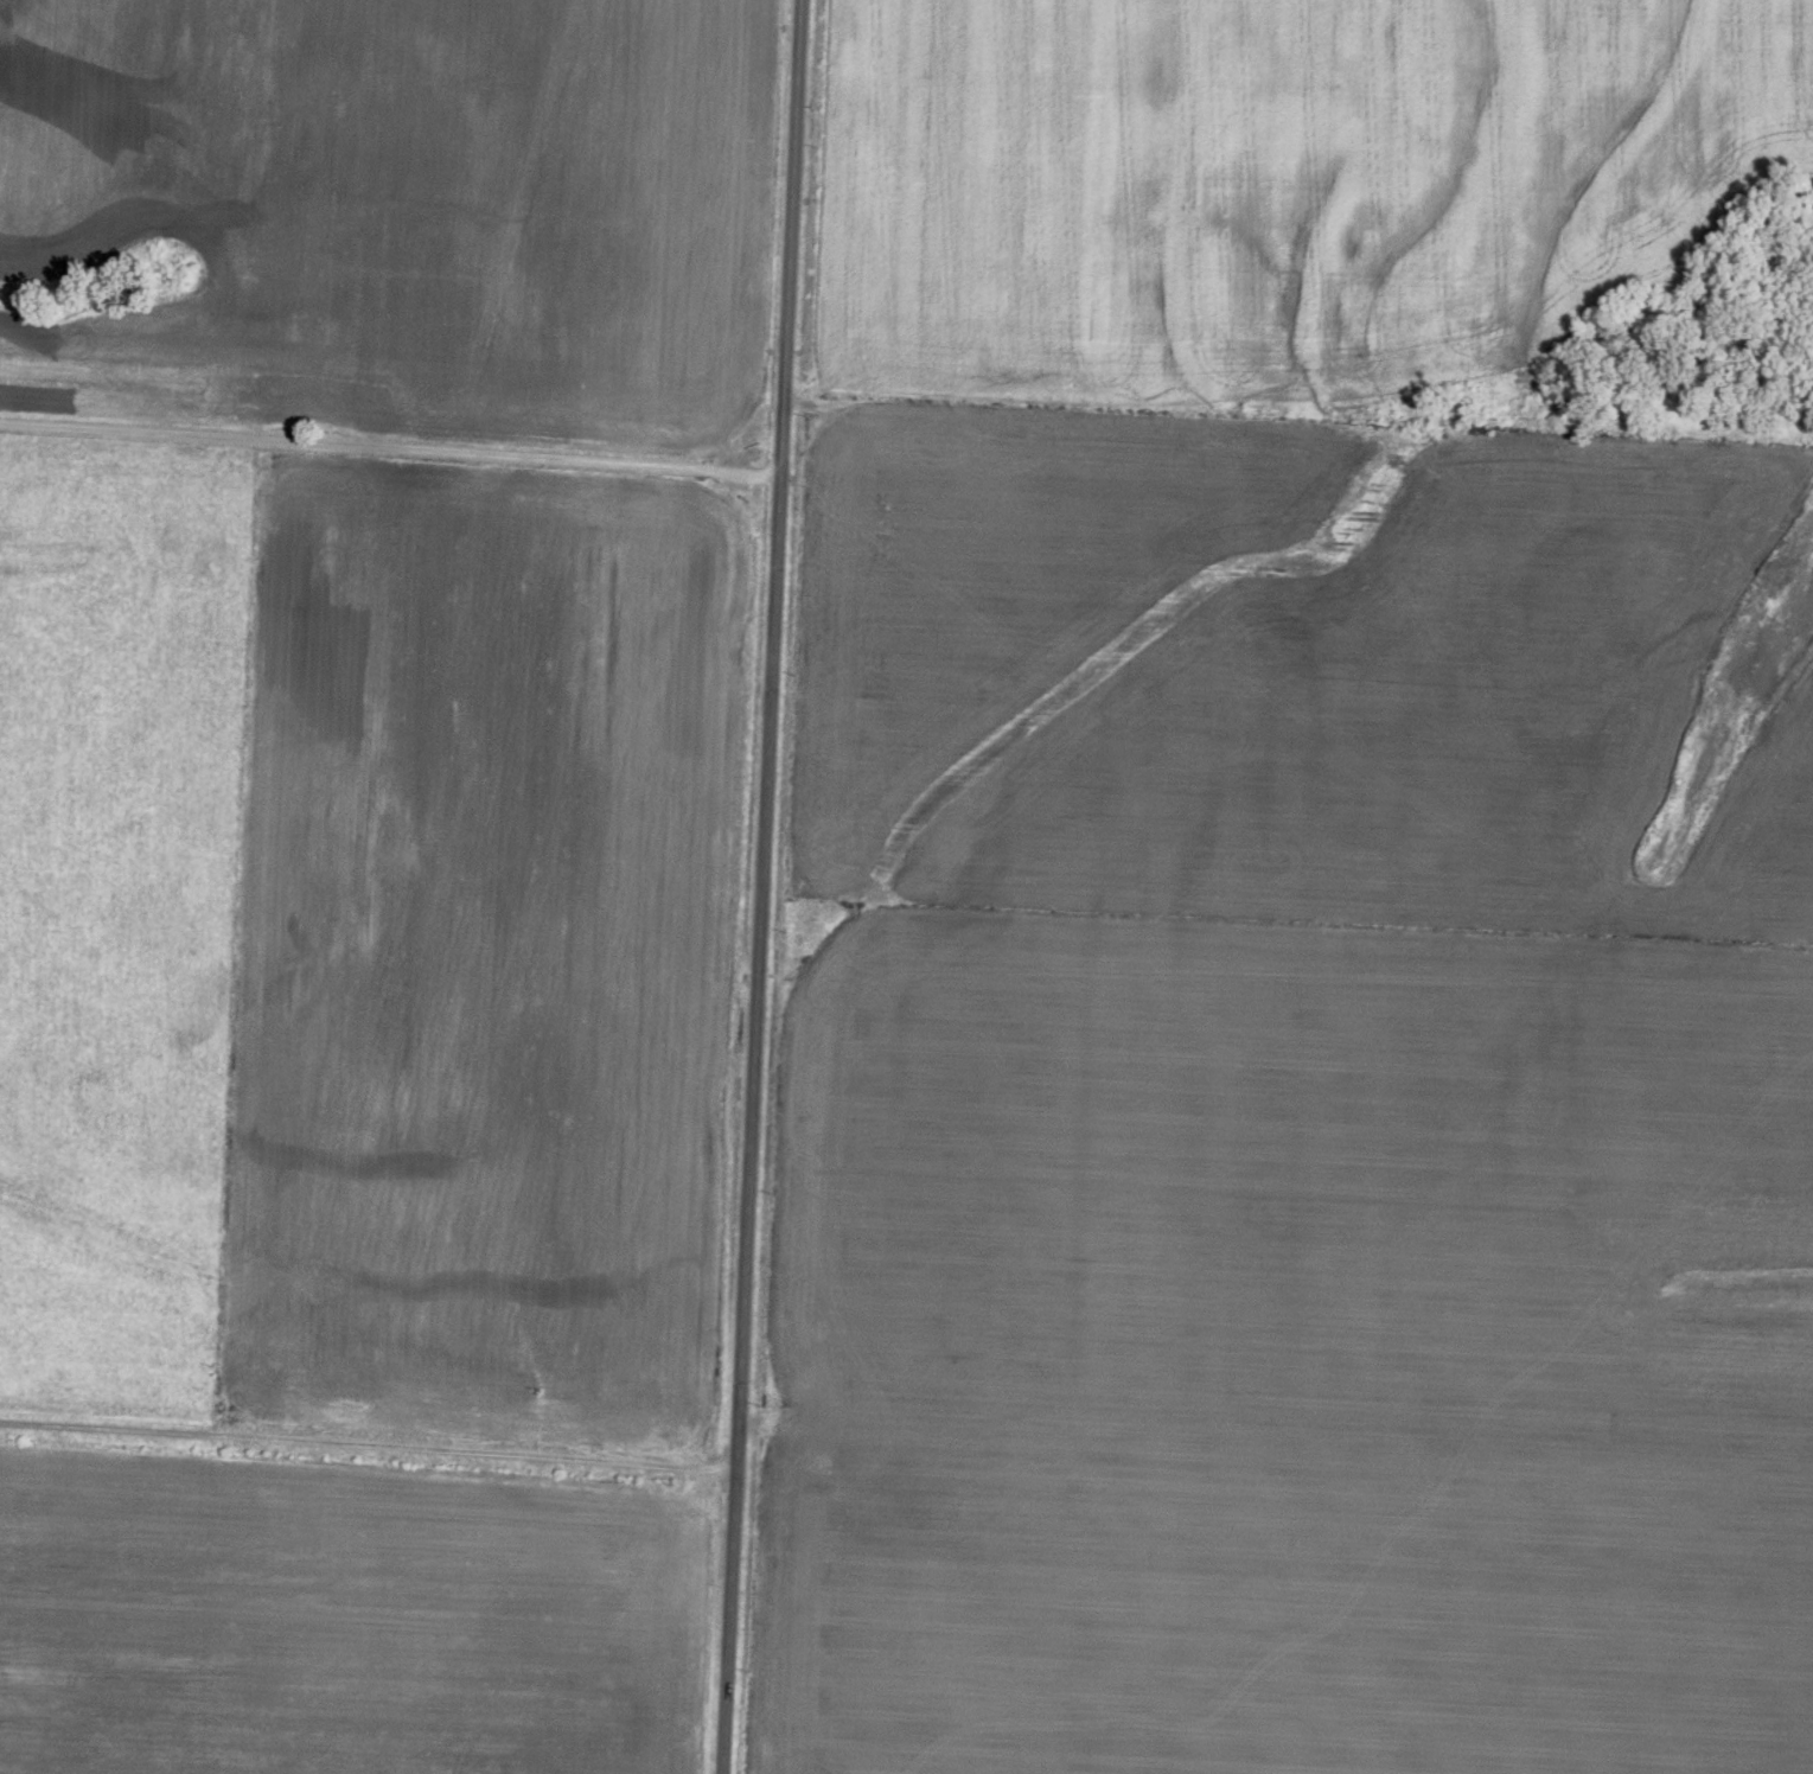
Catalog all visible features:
road: (390, 448)
road: (761, 887)
road: (368, 1447)

